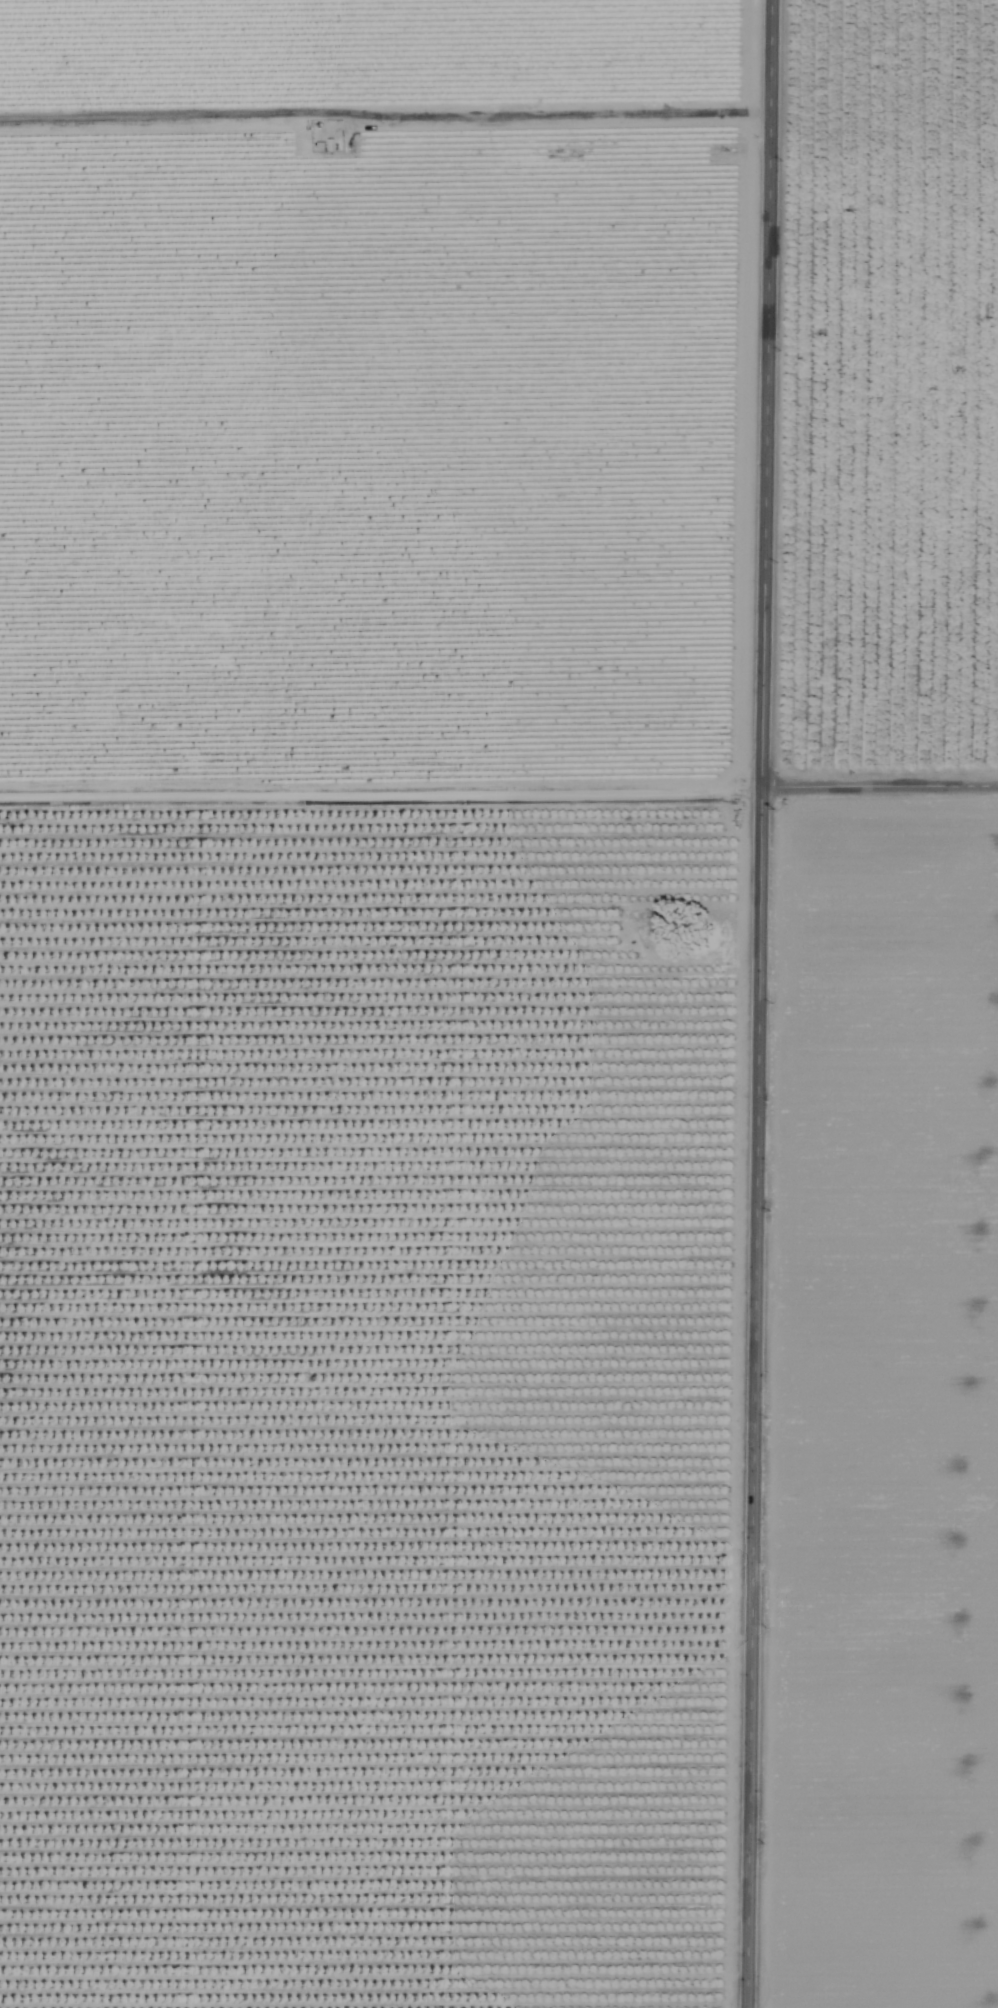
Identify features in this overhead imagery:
road: (382, 114)
road: (498, 779)
road: (745, 1003)

